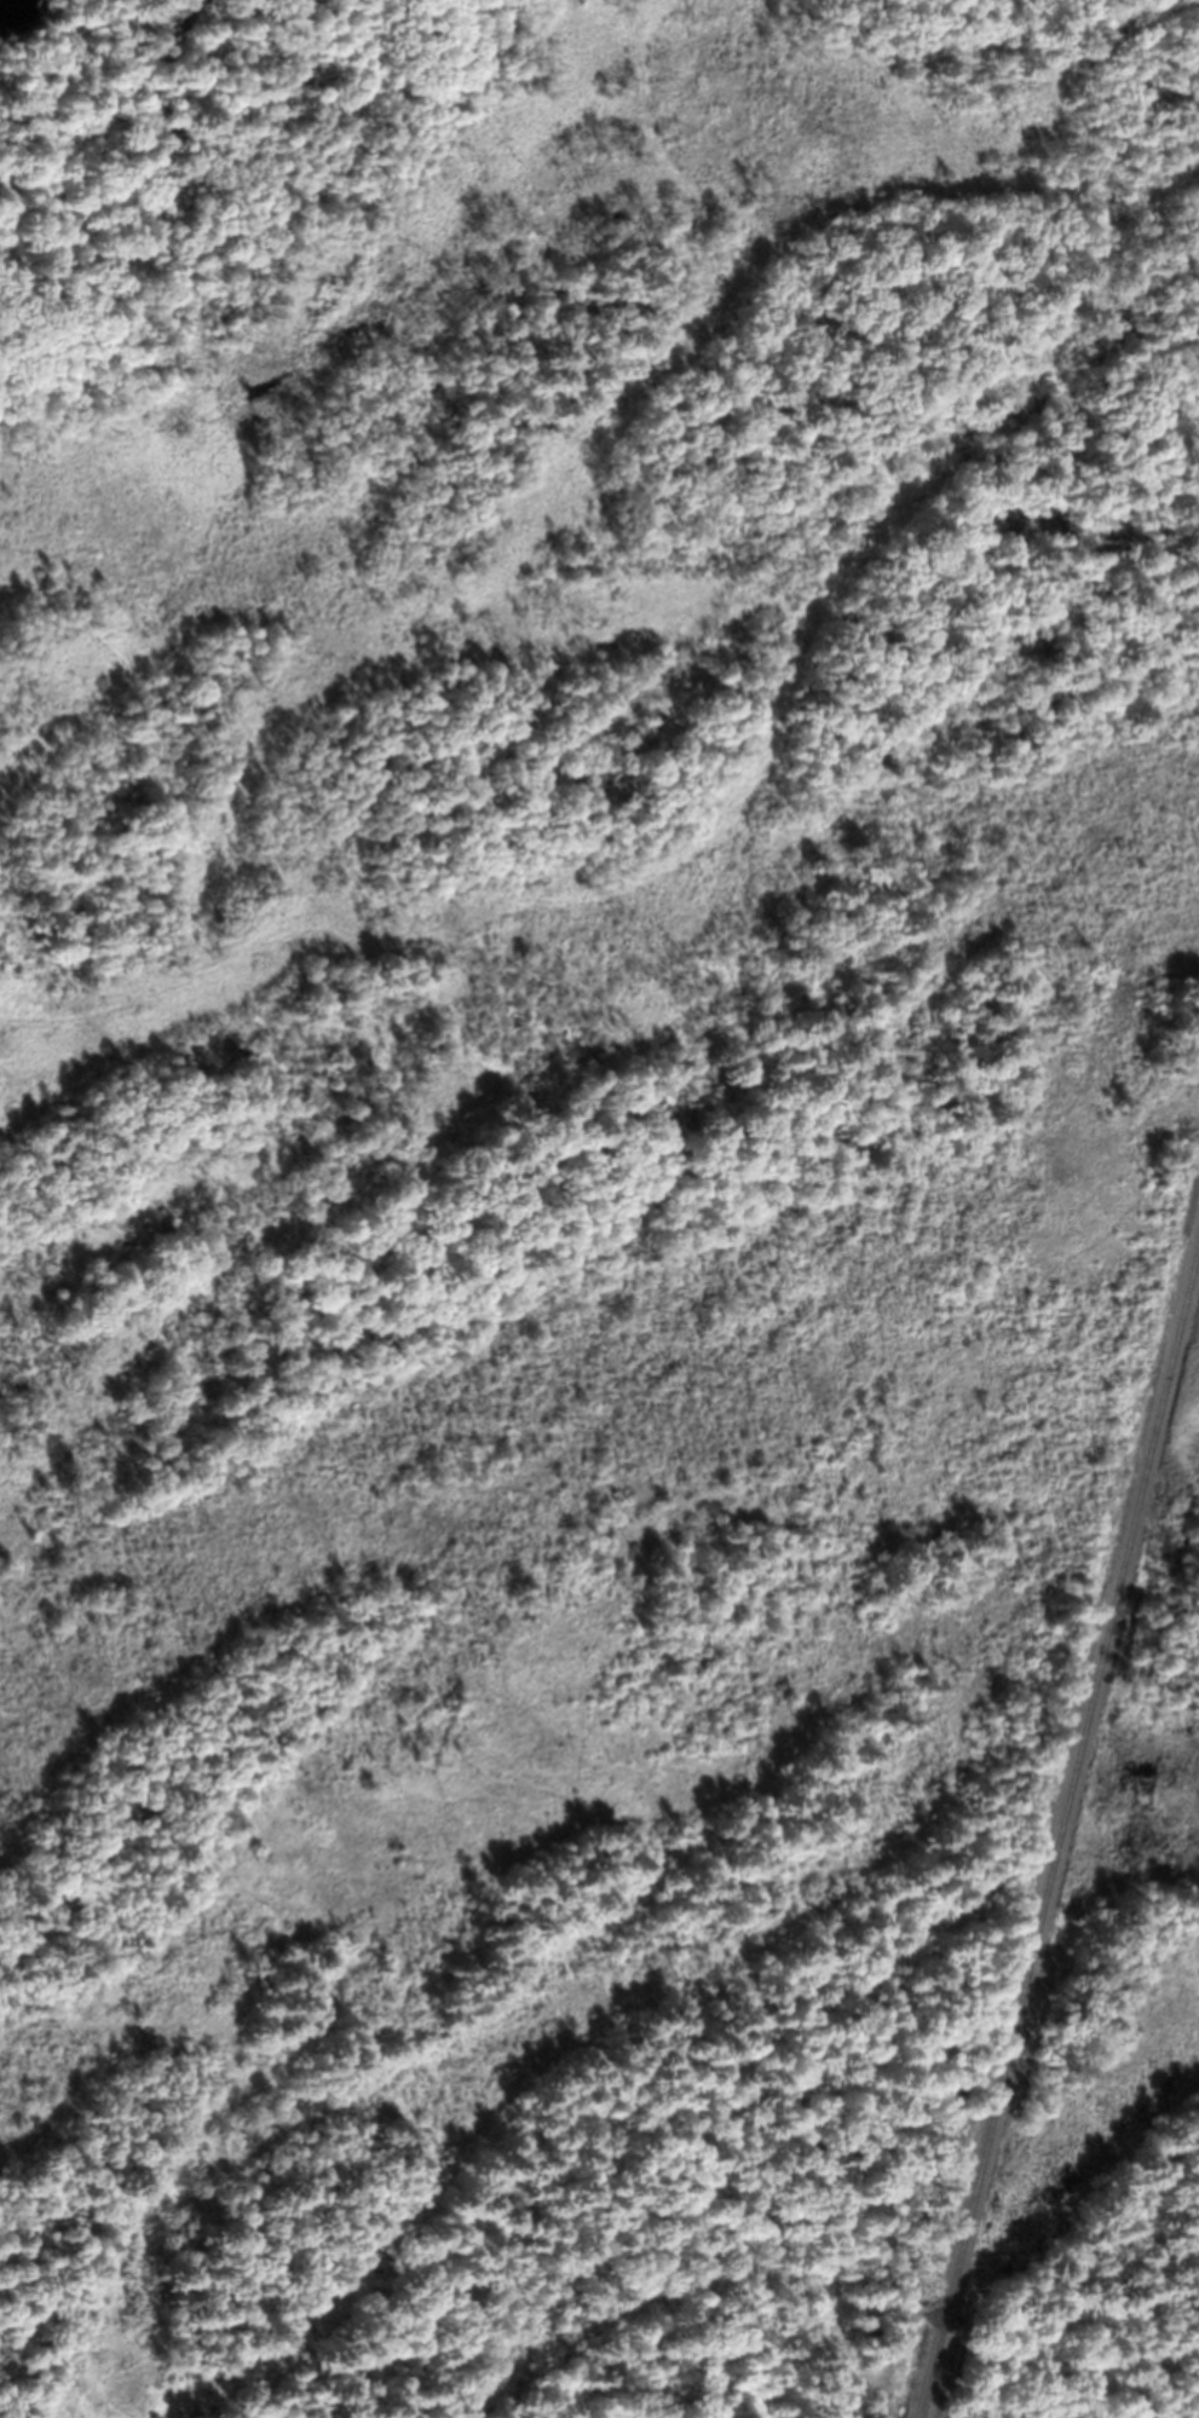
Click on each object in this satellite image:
railway: (1060, 1831)

